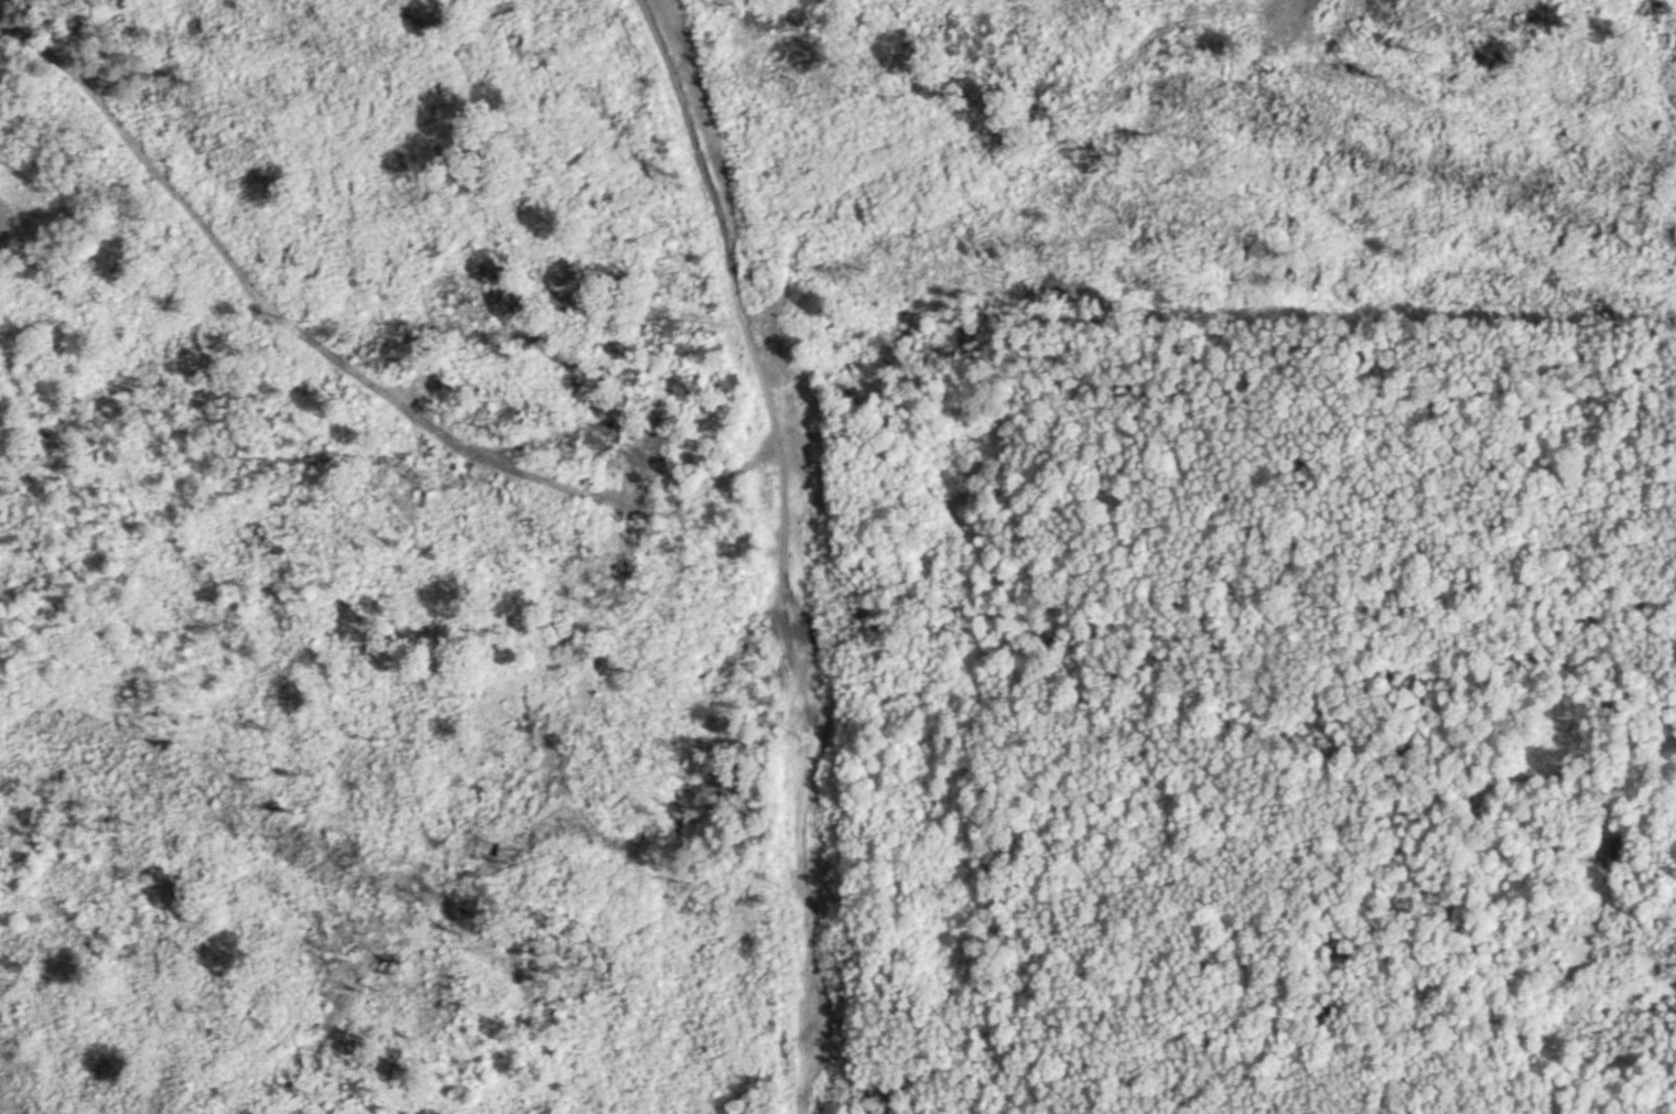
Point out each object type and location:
road: (769, 551)
building: (1611, 854)

